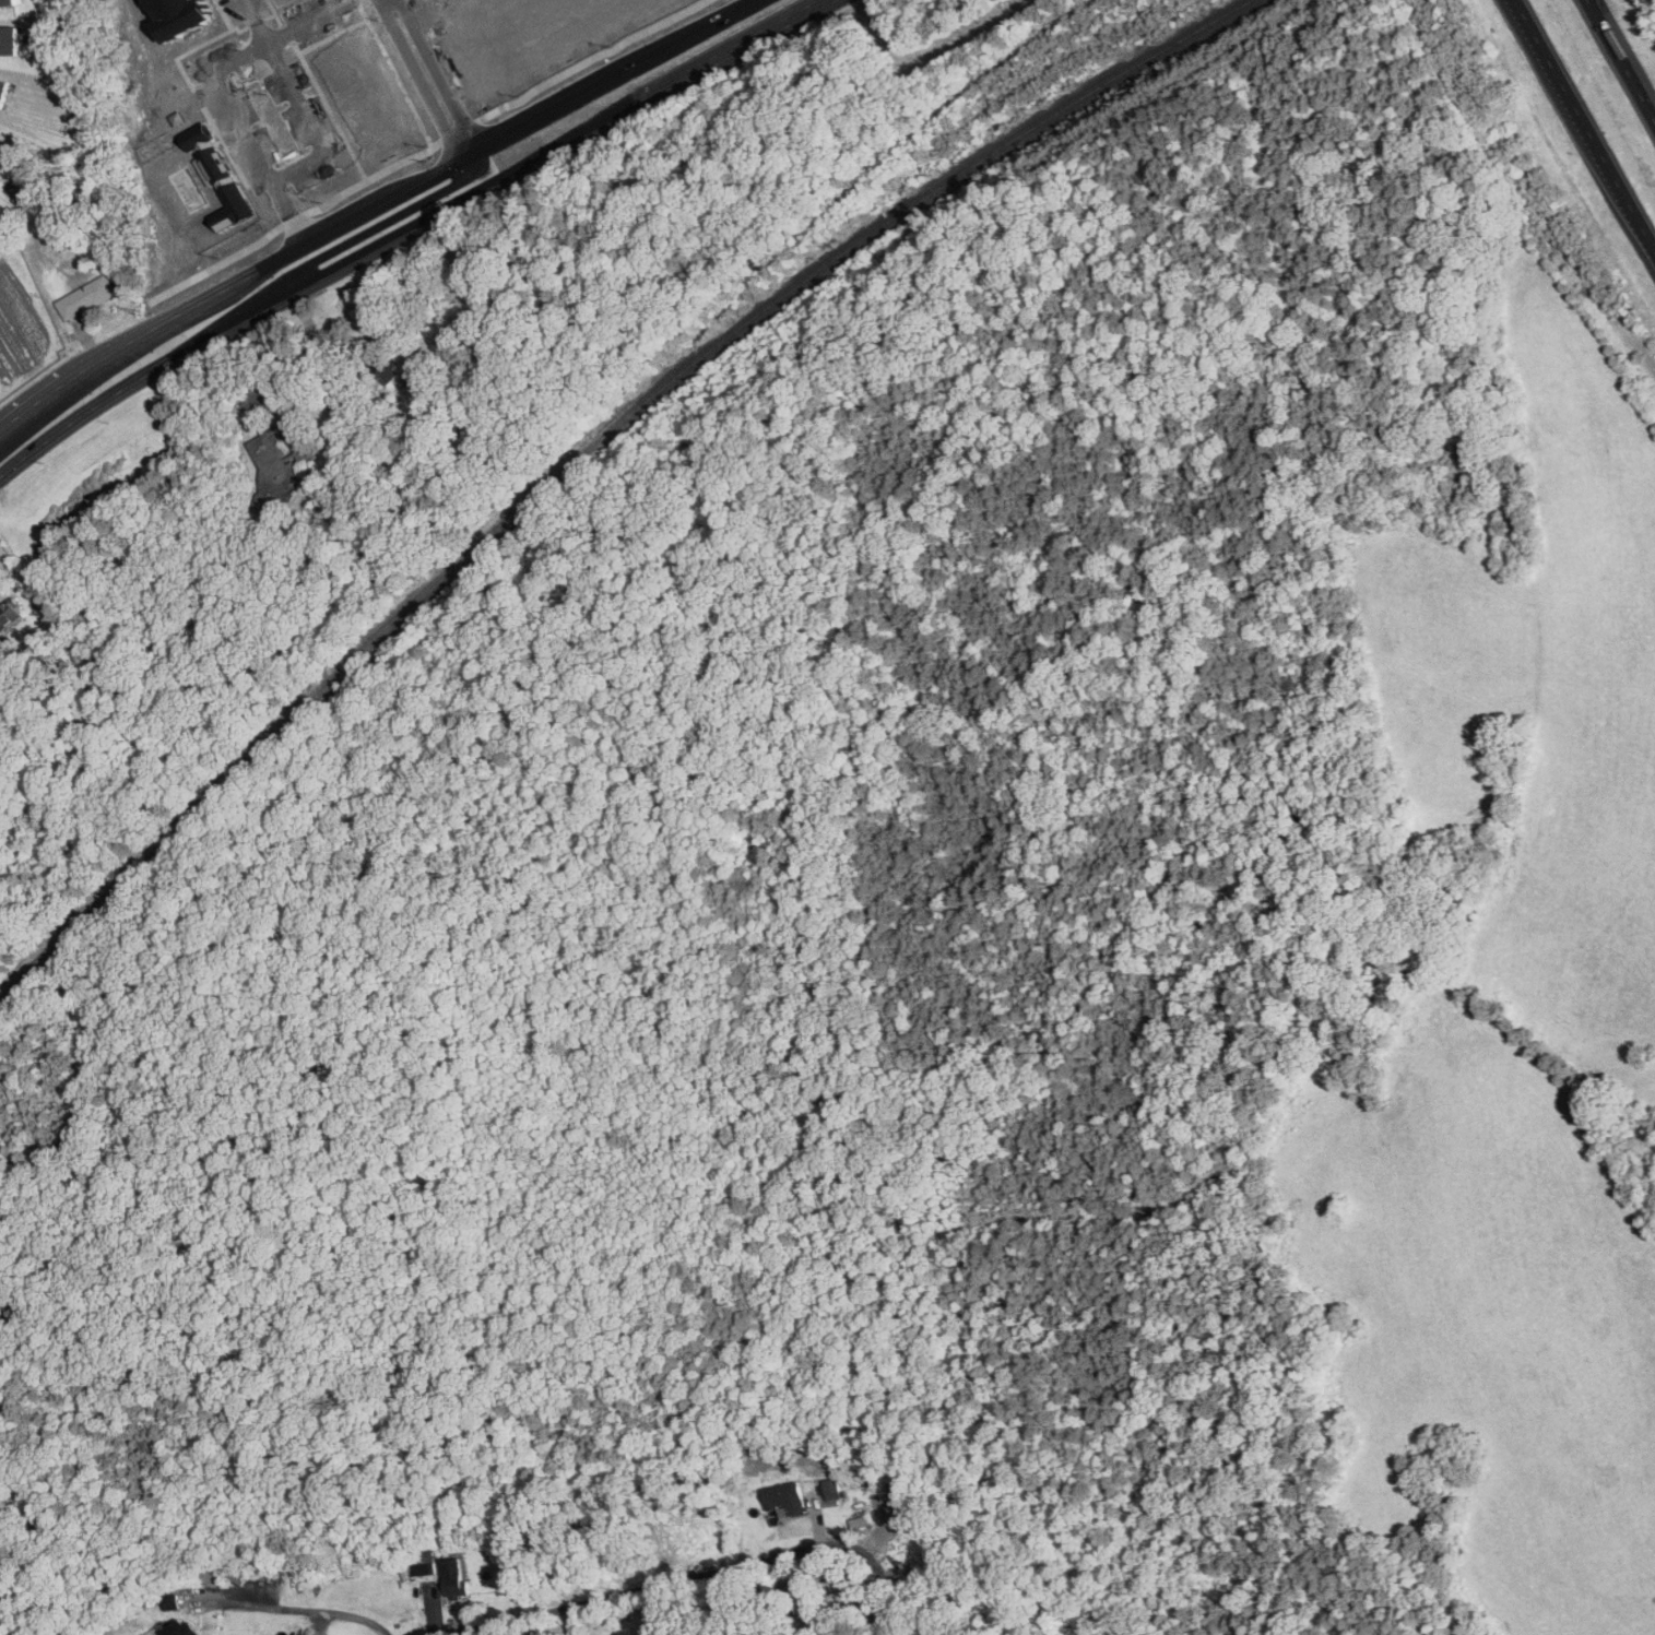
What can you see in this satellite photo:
road: (251, 1)
building: (7, 2)
road: (1588, 4)
road: (260, 21)
building: (9, 39)
road: (1623, 67)
road: (711, 68)
building: (3, 92)
road: (232, 92)
road: (1577, 114)
road: (318, 125)
building: (1, 140)
road: (472, 150)
traffic signals: (476, 153)
road: (374, 208)
road: (1647, 240)
road: (287, 297)
building: (85, 298)
building: (382, 370)
road: (341, 394)
road: (306, 398)
railway: (587, 452)
building: (277, 461)
building: (8, 614)
building: (829, 1492)
building: (785, 1497)
road: (698, 1576)
building: (453, 1584)
building: (172, 1601)
road: (292, 1610)
building: (184, 1631)

